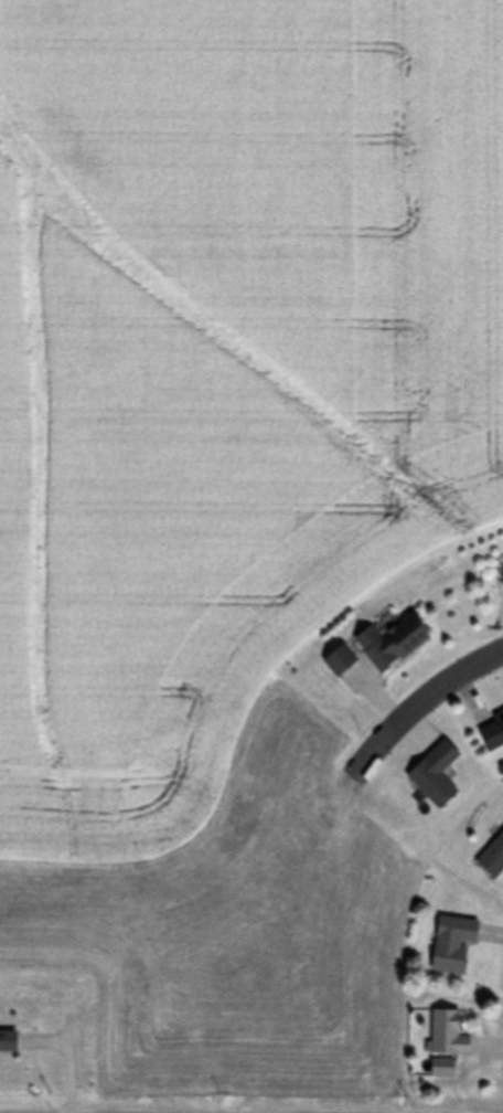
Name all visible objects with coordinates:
building: (389, 644)
road: (419, 703)
building: (491, 732)
building: (492, 858)
building: (451, 944)
building: (446, 1032)
building: (7, 1040)
building: (440, 1067)

